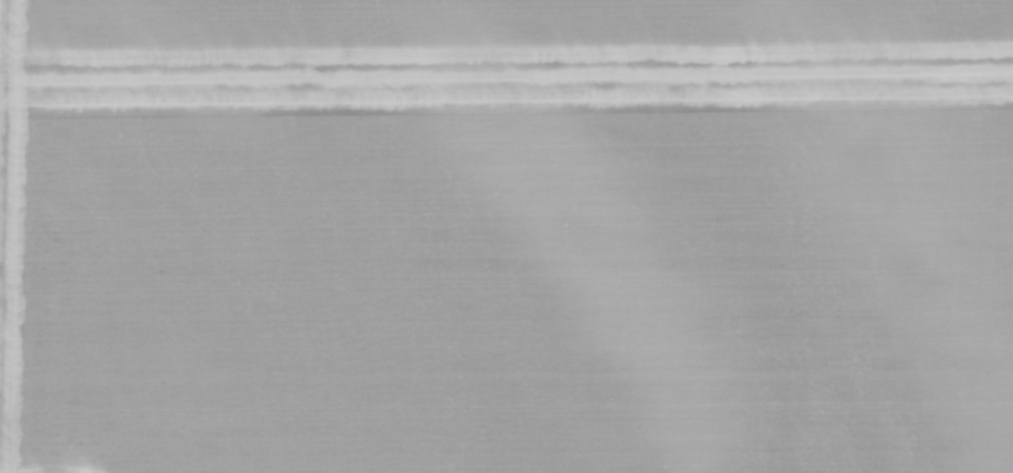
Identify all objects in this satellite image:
crop: (506, 236)

